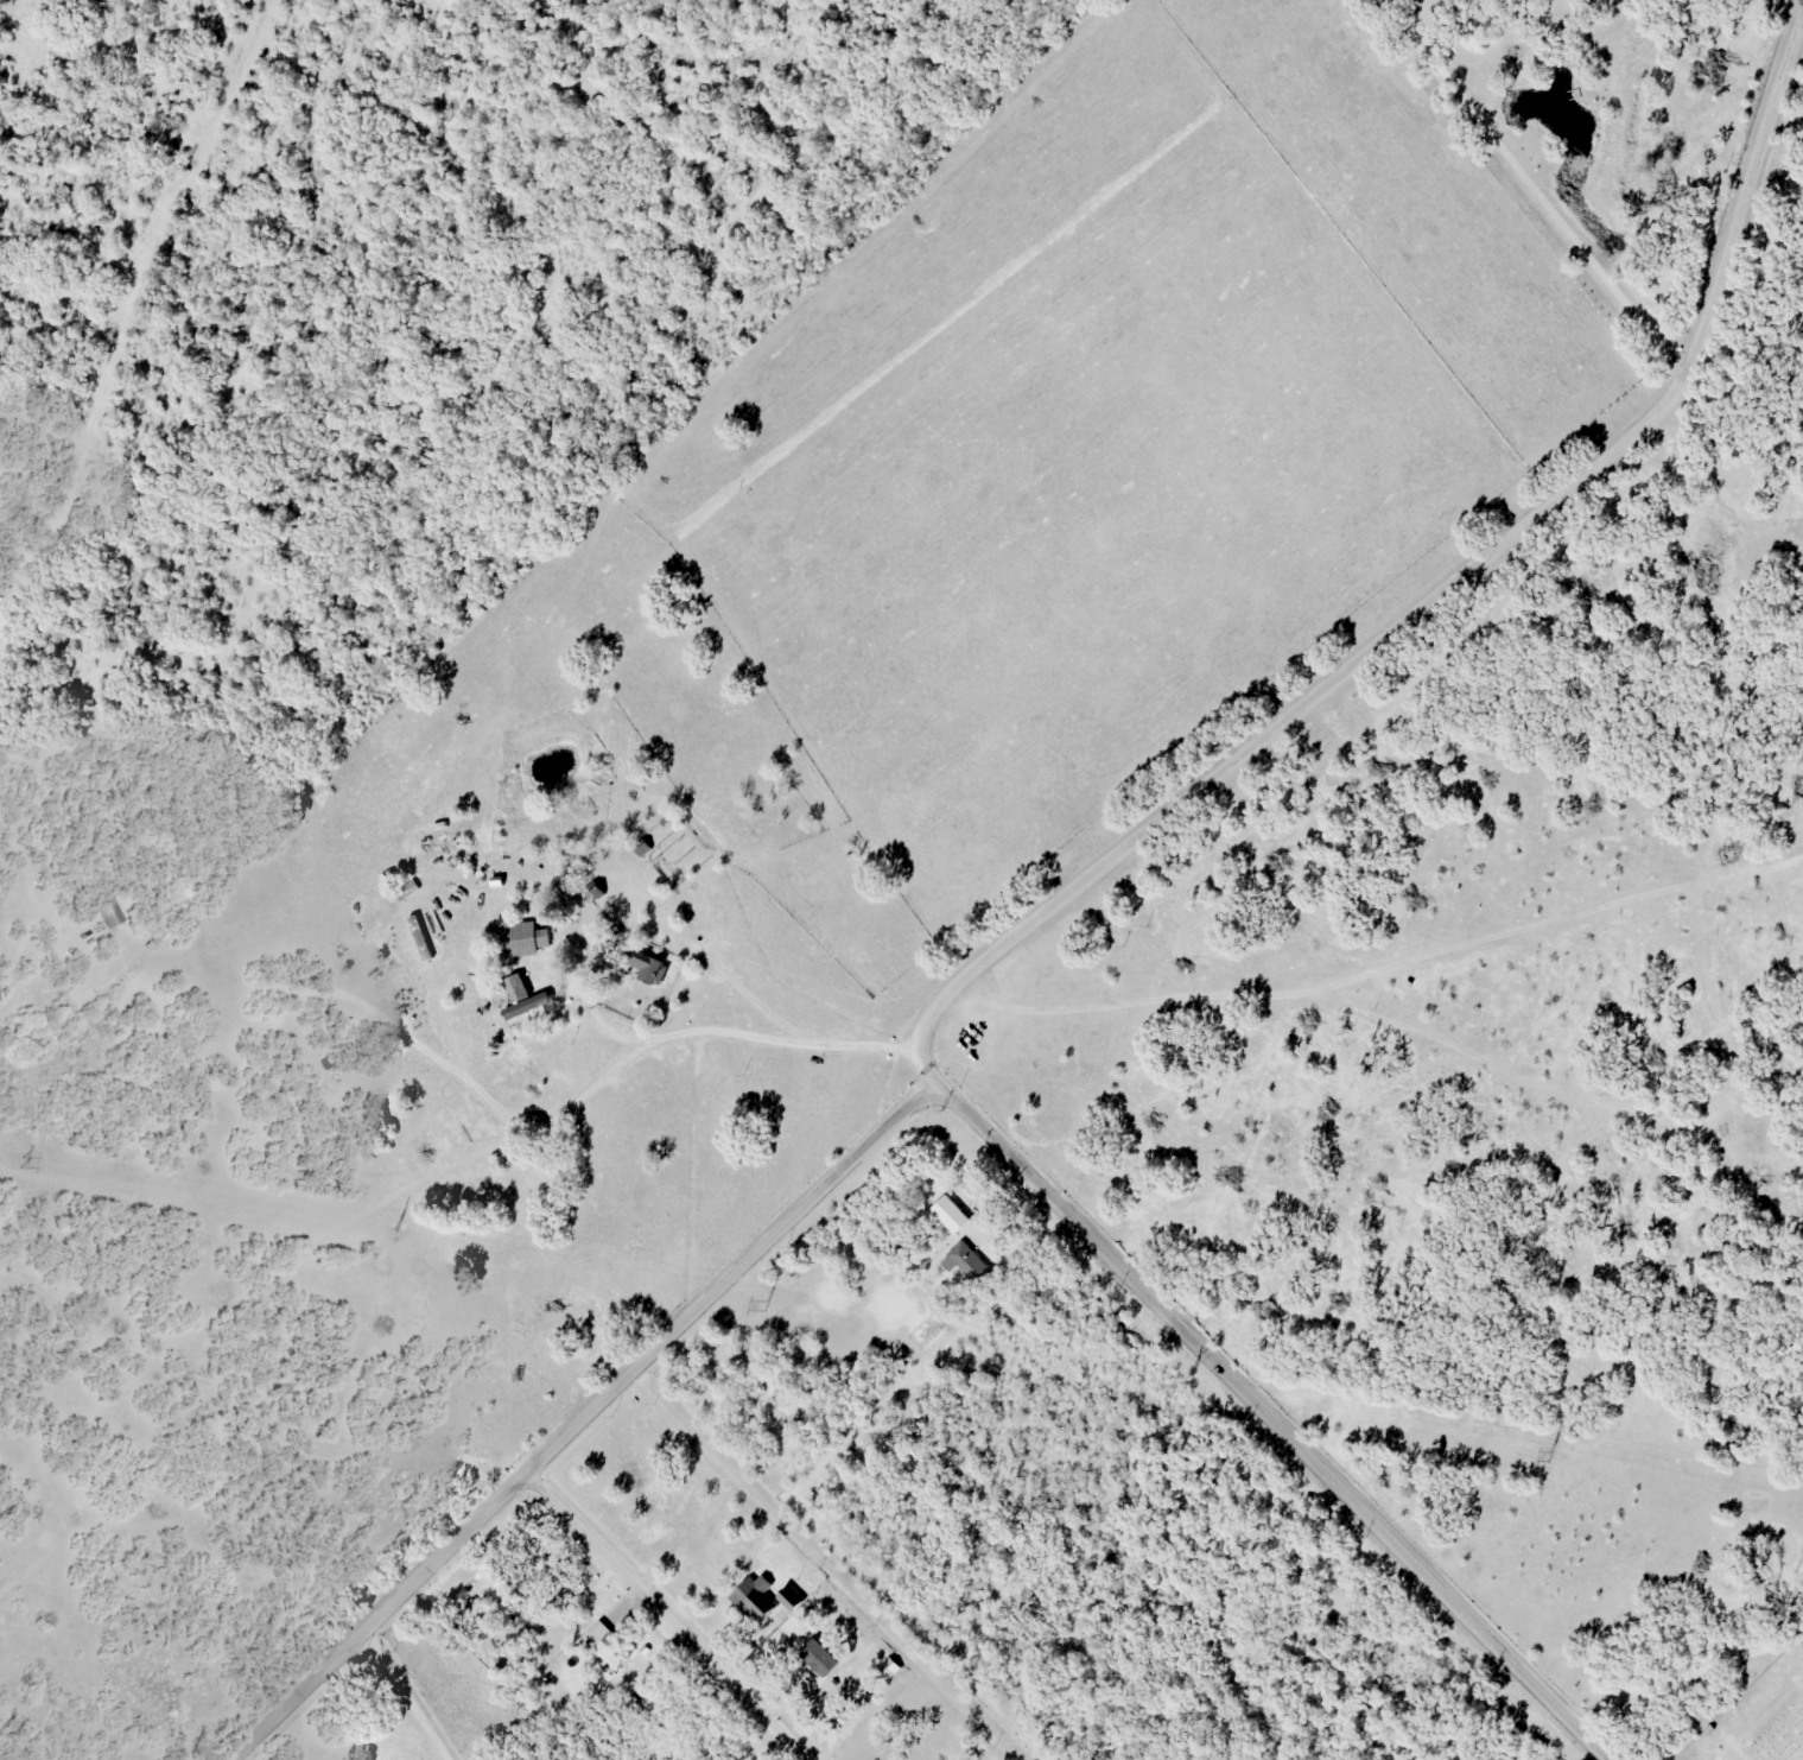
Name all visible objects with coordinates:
building: (627, 856)
building: (495, 875)
building: (595, 892)
road: (1054, 903)
building: (101, 905)
building: (522, 938)
building: (648, 967)
building: (514, 986)
road: (482, 1095)
power tower: (21, 1160)
building: (951, 1214)
power tower: (392, 1233)
building: (960, 1259)
power tower: (767, 1304)
power tower: (1180, 1384)
road: (582, 1418)
power tower: (1547, 1456)
building: (789, 1597)
building: (754, 1598)
road: (667, 1616)
building: (604, 1644)
building: (889, 1669)
building: (844, 1693)
road: (405, 1697)
park: (1758, 1717)
building: (602, 1753)

